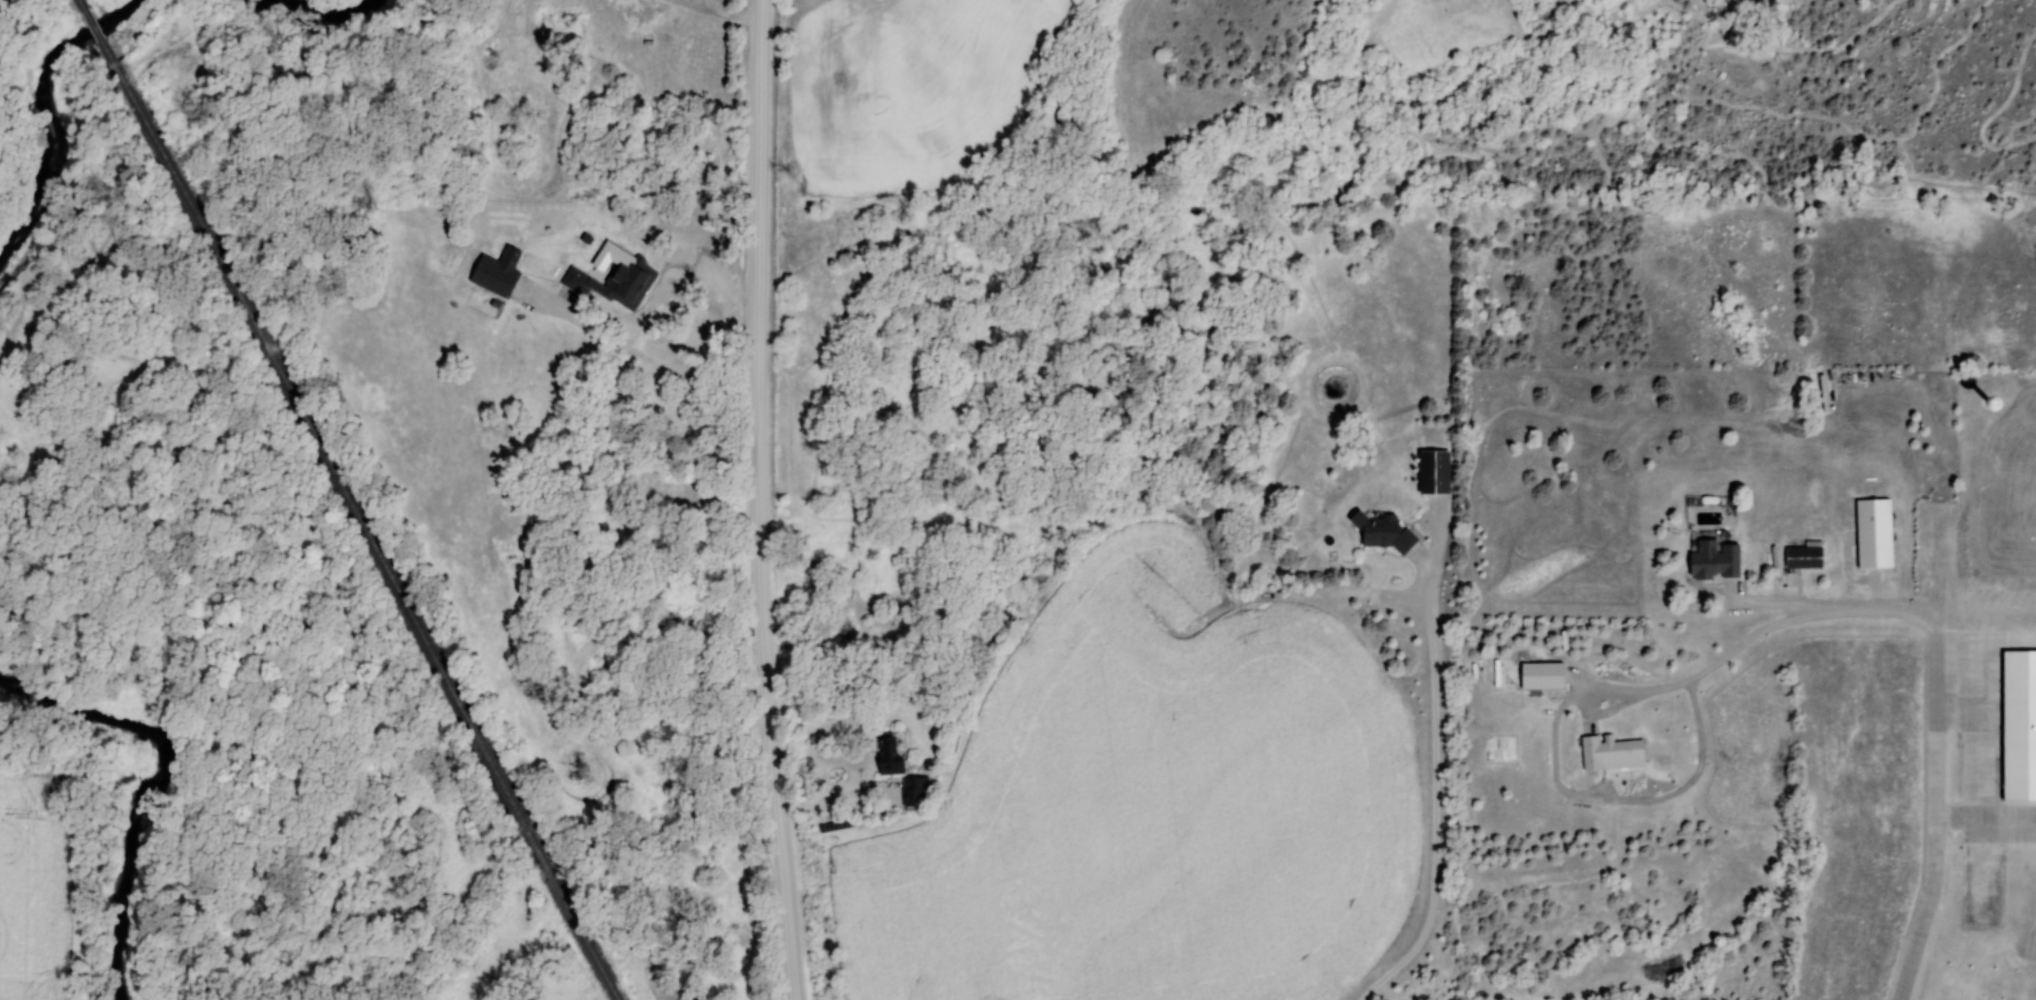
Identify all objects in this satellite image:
railway: (82, 1)
road: (712, 13)
river: (332, 20)
railway: (101, 36)
river: (54, 118)
road: (759, 196)
building: (501, 280)
building: (617, 281)
road: (655, 362)
building: (1436, 473)
building: (1383, 533)
railway: (366, 535)
building: (1801, 557)
building: (1716, 561)
road: (1765, 604)
road: (1923, 620)
road: (769, 696)
road: (1580, 696)
building: (2017, 725)
building: (891, 756)
river: (158, 785)
road: (1436, 790)
building: (915, 791)
road: (838, 797)
road: (1936, 818)

